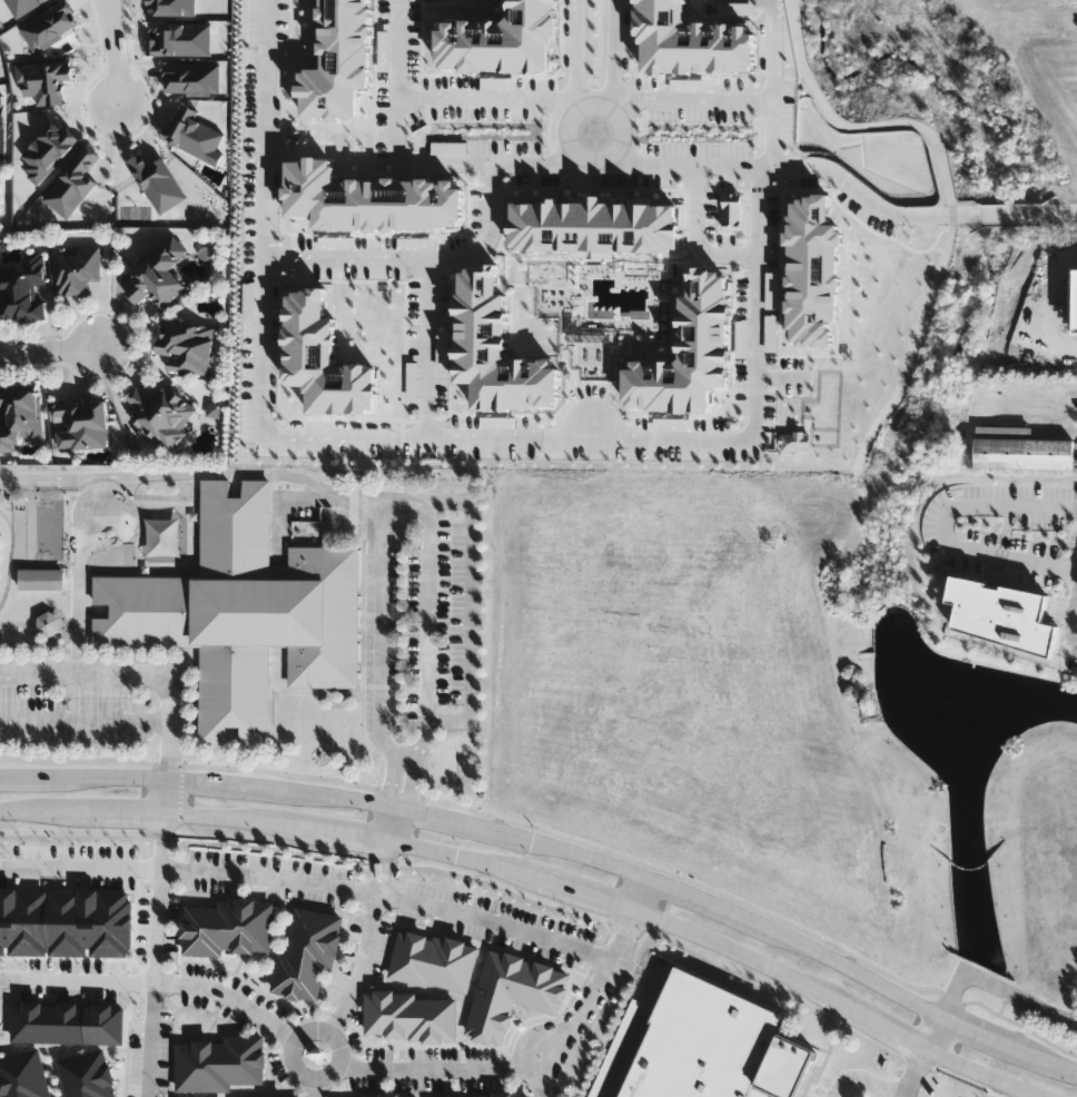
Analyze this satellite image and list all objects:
road: (111, 12)
road: (113, 13)
road: (615, 47)
road: (580, 48)
road: (771, 49)
road: (118, 66)
road: (439, 97)
road: (596, 130)
road: (596, 148)
road: (555, 164)
road: (820, 167)
road: (693, 237)
road: (415, 258)
building: (78, 270)
building: (159, 274)
building: (24, 289)
road: (1053, 304)
building: (187, 346)
road: (426, 349)
road: (45, 350)
building: (689, 355)
building: (324, 362)
building: (160, 412)
building: (20, 416)
building: (81, 423)
road: (428, 439)
building: (1019, 447)
road: (238, 474)
road: (405, 500)
road: (76, 526)
road: (947, 530)
road: (8, 557)
park: (36, 557)
building: (39, 565)
building: (41, 579)
road: (472, 611)
building: (243, 612)
building: (49, 623)
road: (1074, 624)
road: (131, 675)
road: (405, 754)
road: (83, 760)
road: (28, 779)
road: (391, 780)
road: (111, 781)
road: (409, 782)
road: (227, 784)
road: (337, 797)
road: (166, 798)
road: (395, 808)
road: (82, 813)
road: (448, 821)
road: (386, 824)
road: (395, 827)
road: (570, 857)
road: (79, 868)
parking lot: (267, 880)
road: (641, 895)
road: (388, 899)
road: (702, 903)
road: (616, 905)
building: (65, 921)
parking lot: (493, 925)
building: (228, 927)
parking lot: (170, 929)
road: (364, 940)
road: (155, 955)
building: (307, 956)
building: (433, 960)
parking lot: (356, 966)
road: (625, 969)
road: (850, 969)
road: (77, 981)
road: (997, 987)
parking lot: (233, 989)
building: (510, 991)
road: (227, 1000)
road: (587, 1006)
parking lot: (213, 1010)
parking lot: (305, 1012)
building: (408, 1015)
building: (68, 1022)
road: (976, 1030)
road: (935, 1032)
road: (621, 1036)
parking lot: (352, 1041)
building: (715, 1046)
road: (1025, 1052)
parking lot: (162, 1056)
parking lot: (428, 1056)
building: (219, 1064)
road: (1058, 1066)
road: (444, 1069)
road: (915, 1073)
road: (300, 1074)
building: (22, 1075)
building: (88, 1075)
parking lot: (279, 1075)
road: (864, 1078)
parking lot: (425, 1084)
road: (314, 1088)
building: (387, 1095)
building: (502, 1095)
building: (276, 1096)
building: (465, 1096)

